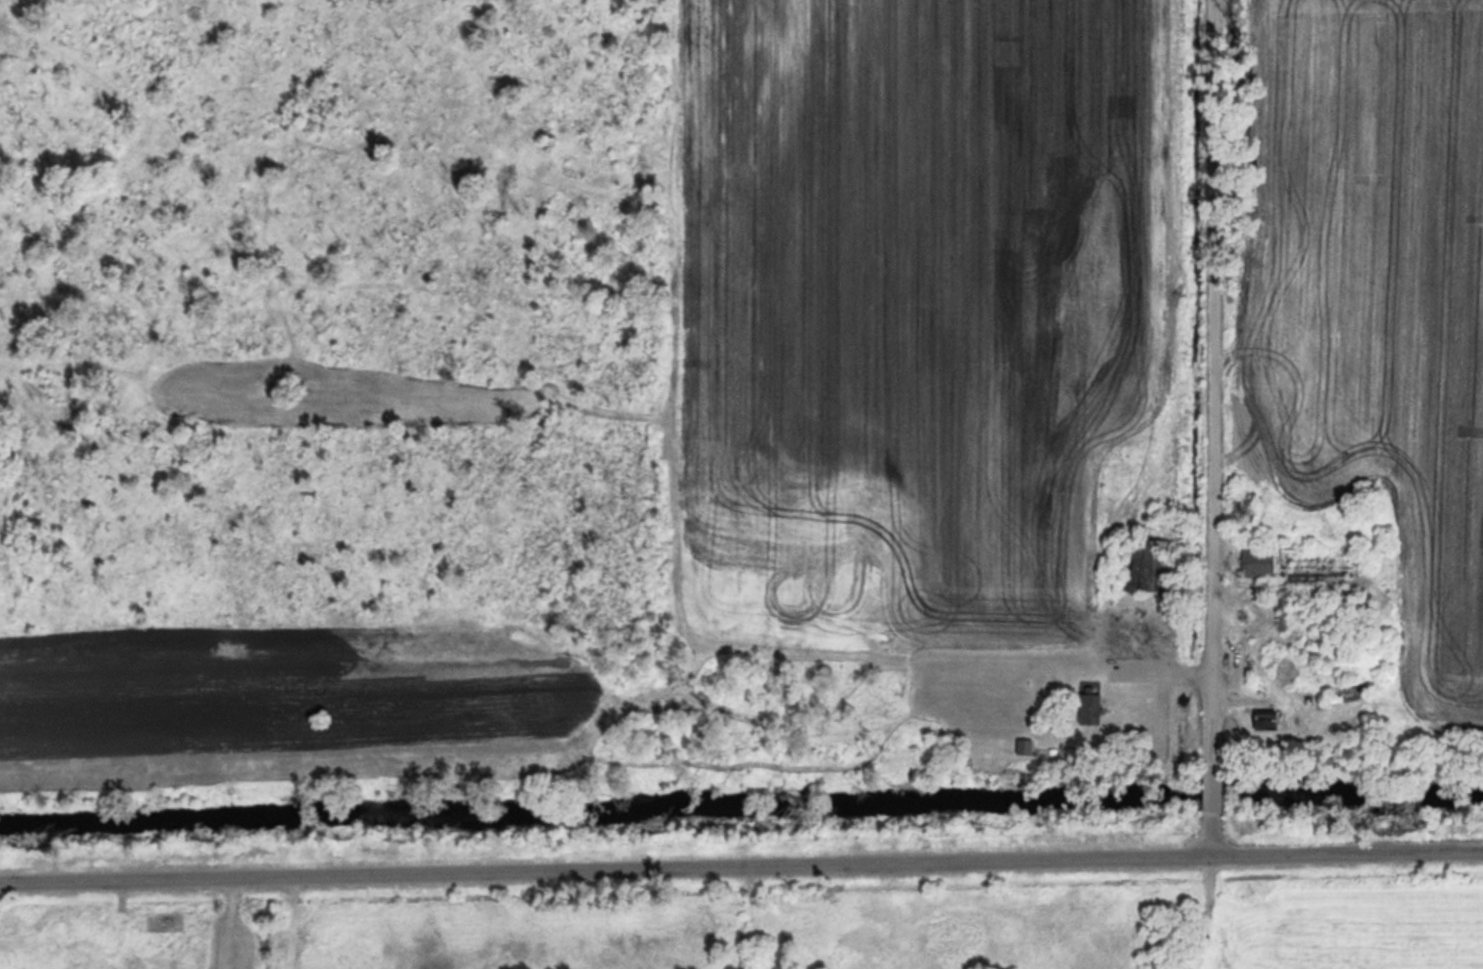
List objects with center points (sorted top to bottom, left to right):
road: (1210, 375)
building: (1283, 561)
building: (1281, 606)
building: (1087, 706)
building: (1263, 718)
road: (1209, 780)
river: (741, 808)
road: (1210, 833)
road: (741, 867)

